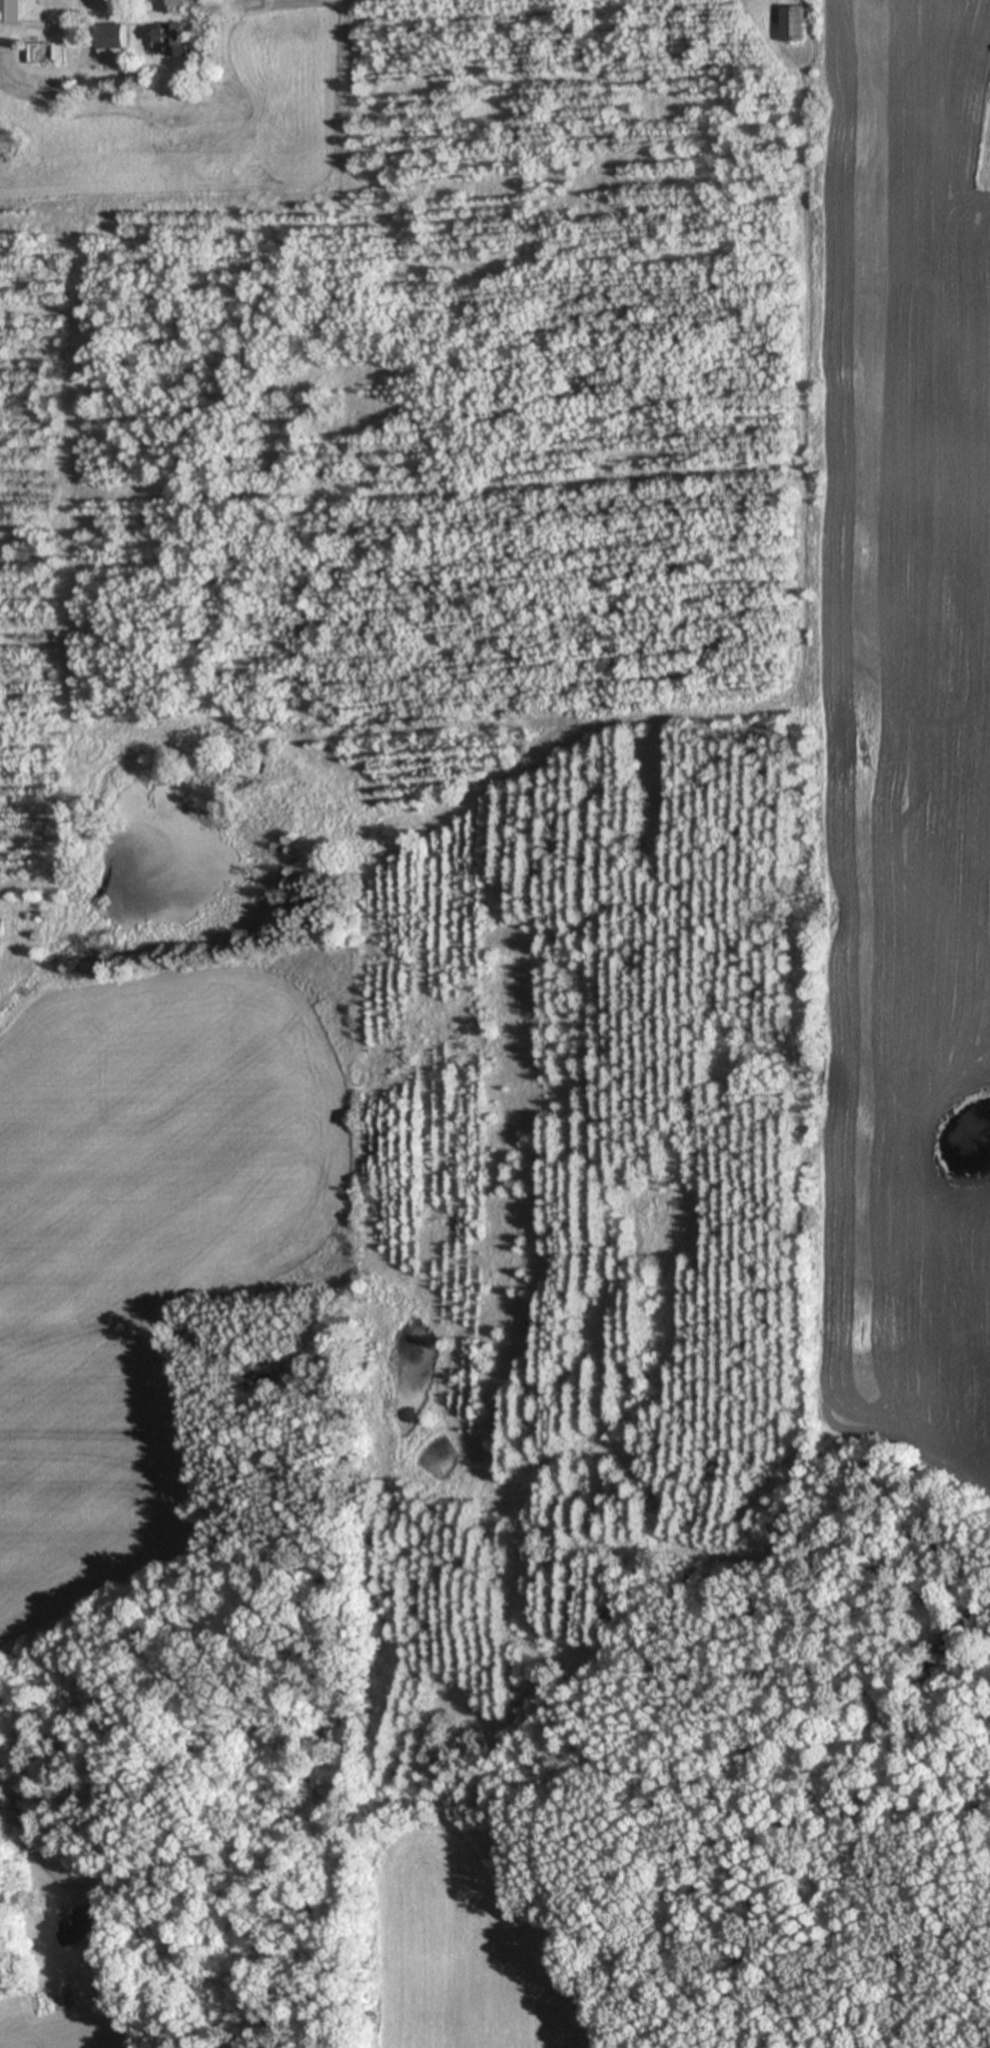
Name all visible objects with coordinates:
building: (12, 12)
building: (794, 25)
building: (115, 37)
building: (172, 42)
road: (30, 1839)

